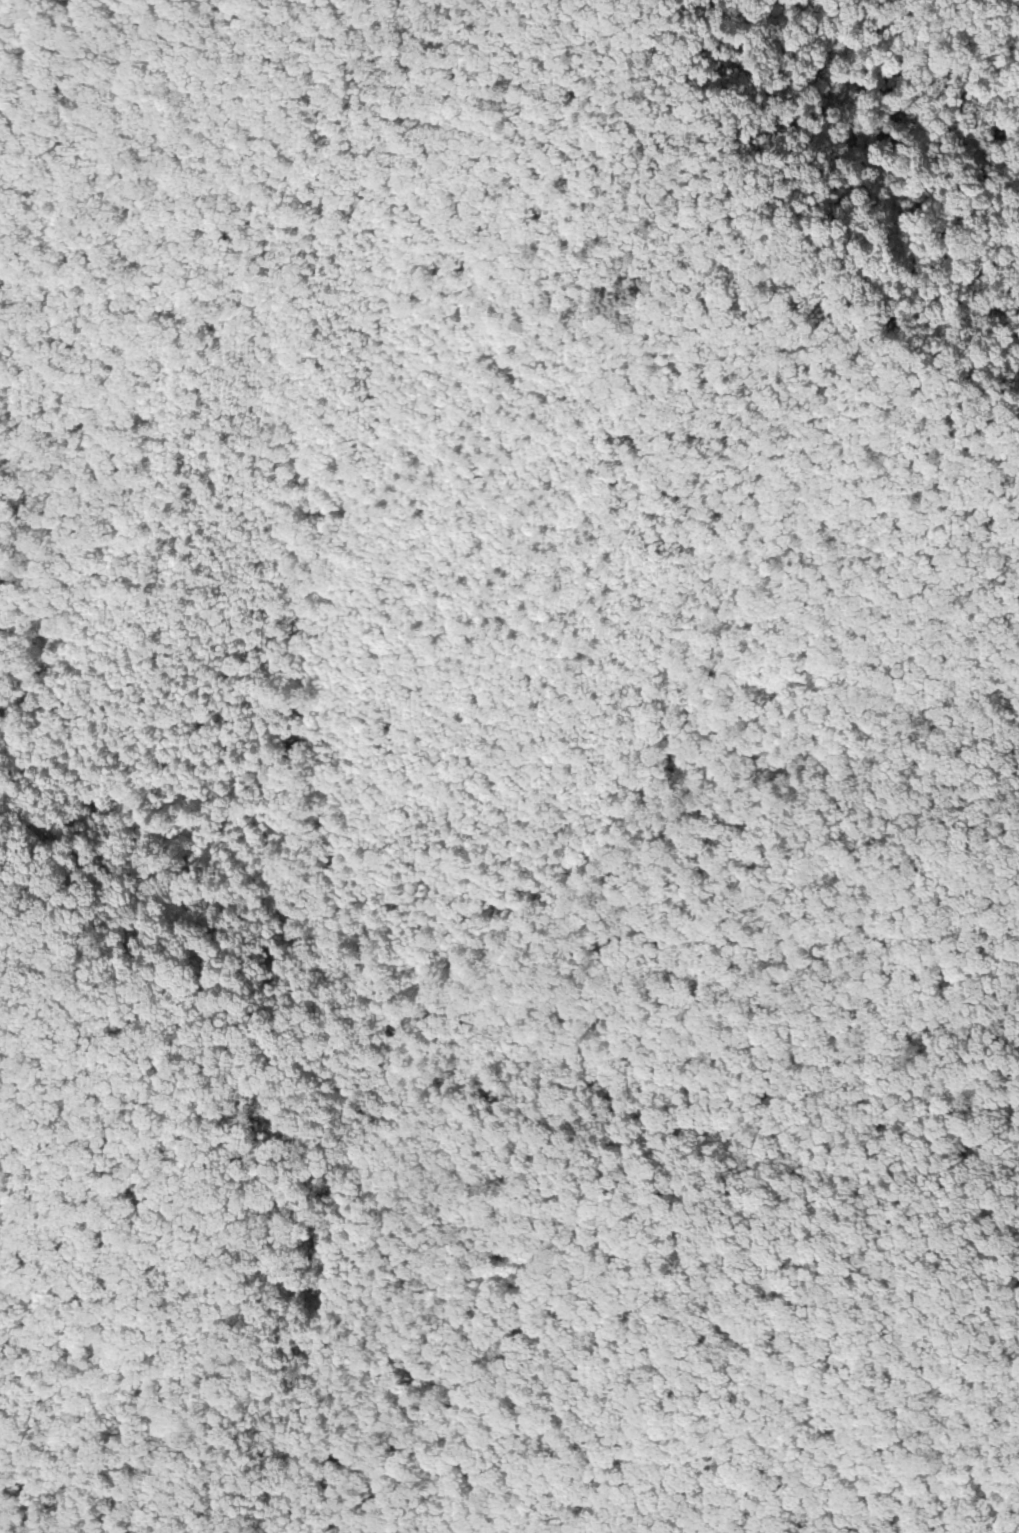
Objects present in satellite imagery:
road: (950, 109)
road: (1012, 295)
road: (834, 1285)

